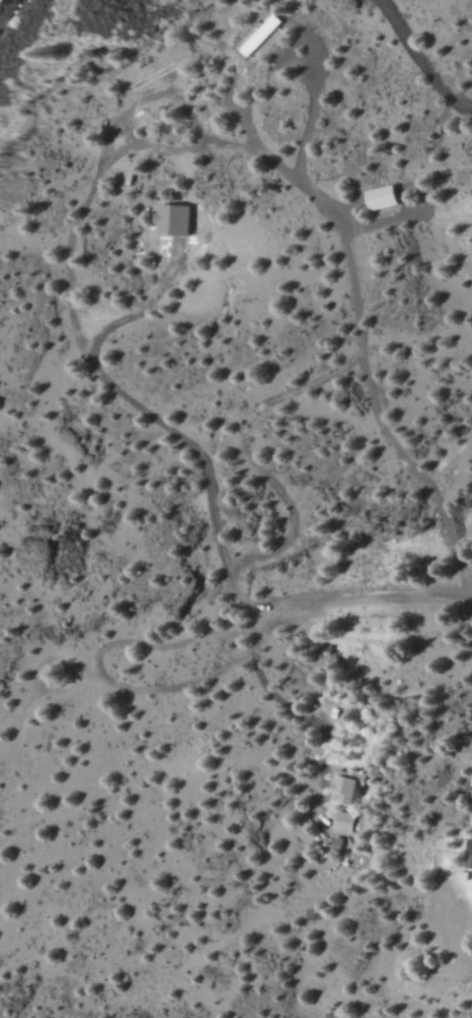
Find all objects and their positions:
river: (7, 10)
building: (261, 34)
building: (381, 196)
building: (171, 219)
road: (370, 596)
building: (346, 785)
building: (343, 821)
building: (468, 853)

